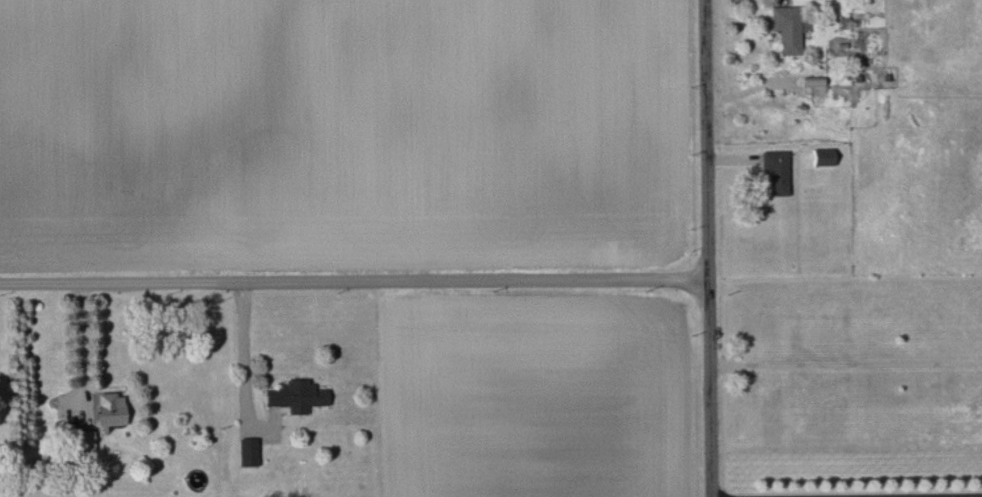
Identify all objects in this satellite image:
building: (785, 28)
building: (821, 156)
building: (774, 171)
road: (710, 248)
road: (355, 283)
road: (80, 349)
road: (246, 351)
road: (847, 362)
building: (293, 395)
building: (108, 408)
building: (81, 439)
building: (244, 451)
road: (856, 495)

